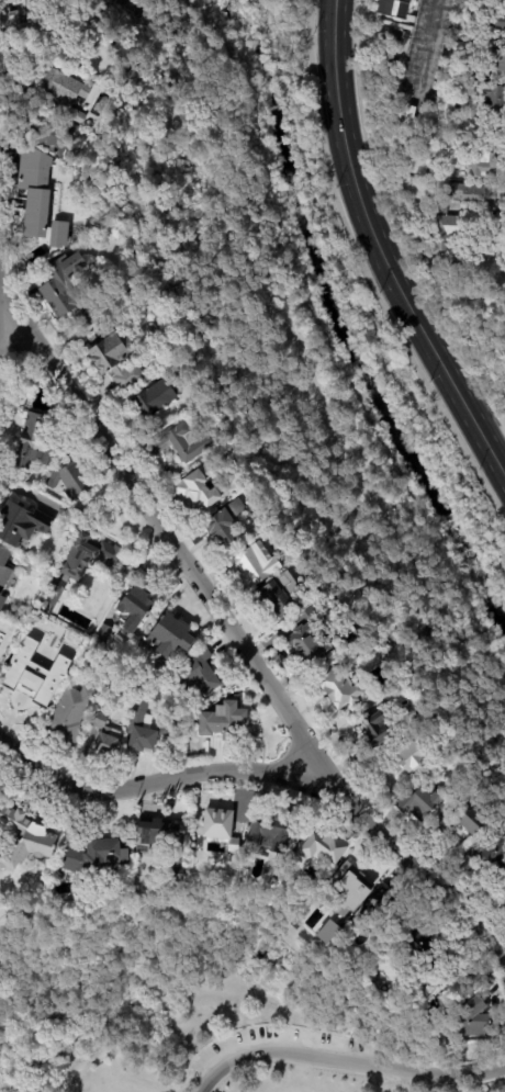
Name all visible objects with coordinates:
road: (209, 9)
building: (395, 14)
building: (9, 15)
building: (497, 21)
building: (393, 36)
road: (426, 44)
building: (495, 60)
building: (460, 74)
building: (67, 94)
building: (490, 94)
building: (458, 109)
building: (412, 115)
building: (48, 134)
building: (484, 164)
building: (438, 173)
building: (36, 191)
building: (476, 194)
building: (442, 207)
building: (447, 230)
building: (58, 234)
building: (415, 235)
road: (378, 249)
road: (364, 274)
building: (68, 290)
park: (303, 323)
building: (114, 359)
road: (308, 368)
building: (176, 370)
building: (147, 403)
building: (182, 440)
building: (36, 444)
building: (70, 482)
building: (198, 487)
building: (220, 525)
building: (21, 526)
road: (160, 530)
building: (87, 553)
building: (252, 562)
building: (3, 565)
building: (0, 592)
building: (278, 593)
building: (1, 598)
building: (133, 606)
building: (102, 632)
building: (310, 632)
building: (169, 633)
building: (105, 663)
building: (160, 669)
building: (33, 672)
building: (199, 673)
building: (338, 688)
building: (399, 697)
building: (377, 699)
building: (70, 712)
building: (223, 722)
building: (169, 729)
building: (374, 729)
building: (142, 730)
building: (105, 734)
building: (404, 761)
road: (154, 785)
building: (420, 803)
building: (474, 821)
building: (440, 826)
building: (218, 829)
building: (160, 833)
building: (272, 834)
building: (25, 837)
building: (332, 848)
building: (97, 856)
building: (486, 859)
road: (414, 866)
building: (349, 892)
building: (386, 911)
building: (420, 949)
building: (474, 977)
building: (471, 1010)
park: (233, 1035)
road: (344, 1060)
road: (503, 1091)

